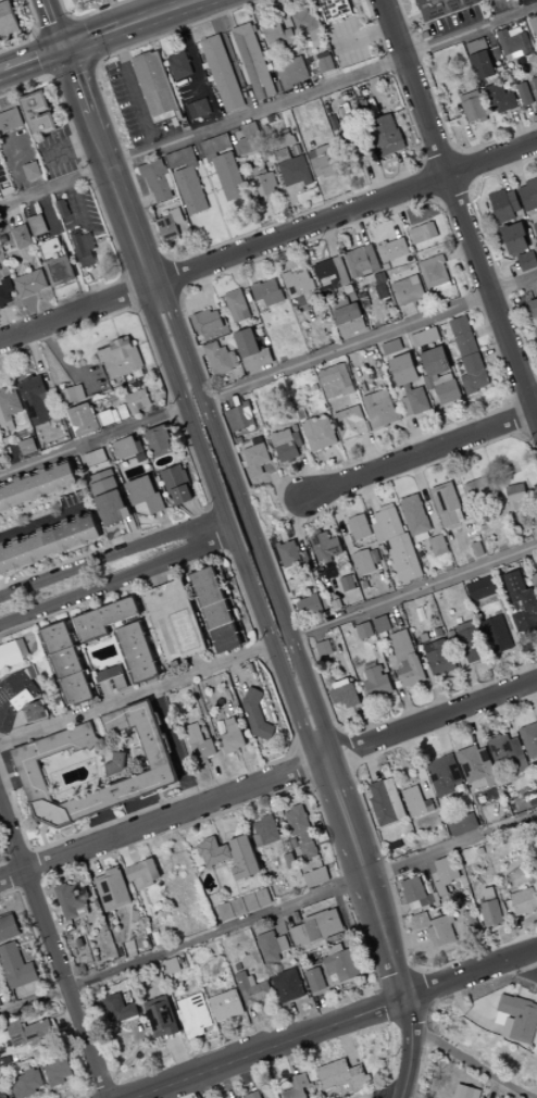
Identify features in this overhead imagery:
road: (192, 0)
building: (483, 0)
building: (486, 0)
building: (86, 1)
road: (109, 3)
road: (309, 5)
building: (441, 8)
building: (336, 9)
road: (283, 13)
road: (89, 14)
building: (312, 14)
road: (220, 15)
building: (8, 20)
road: (70, 20)
building: (304, 21)
road: (53, 24)
building: (534, 25)
road: (54, 29)
building: (273, 32)
road: (33, 35)
road: (37, 35)
building: (315, 35)
road: (98, 36)
building: (289, 36)
road: (363, 37)
road: (489, 37)
road: (188, 38)
road: (13, 40)
road: (80, 42)
building: (505, 42)
building: (317, 43)
building: (524, 43)
building: (476, 47)
traffic signals: (64, 49)
building: (517, 49)
building: (323, 55)
road: (47, 59)
building: (253, 62)
road: (96, 64)
building: (325, 64)
building: (179, 65)
building: (482, 65)
building: (268, 66)
road: (73, 72)
building: (291, 72)
building: (223, 74)
road: (52, 83)
building: (473, 84)
building: (535, 84)
building: (155, 85)
building: (469, 86)
building: (462, 88)
road: (134, 89)
building: (524, 93)
road: (143, 96)
building: (247, 96)
building: (499, 99)
building: (473, 105)
road: (267, 108)
building: (199, 109)
building: (41, 113)
road: (439, 115)
road: (533, 116)
building: (272, 118)
building: (483, 120)
building: (11, 121)
road: (473, 123)
building: (185, 124)
road: (519, 127)
road: (408, 128)
road: (469, 132)
building: (386, 135)
building: (250, 138)
building: (285, 142)
building: (353, 144)
road: (436, 146)
building: (216, 147)
road: (71, 150)
building: (296, 150)
road: (457, 153)
building: (283, 155)
building: (266, 157)
building: (182, 159)
road: (200, 159)
building: (326, 161)
road: (362, 161)
road: (442, 162)
road: (426, 164)
road: (108, 166)
road: (14, 169)
road: (404, 170)
building: (33, 171)
building: (295, 171)
building: (257, 172)
road: (366, 174)
road: (377, 174)
road: (208, 175)
building: (246, 175)
building: (344, 175)
building: (229, 176)
building: (157, 178)
road: (435, 179)
building: (170, 182)
building: (264, 185)
road: (92, 187)
road: (149, 188)
road: (212, 188)
road: (344, 188)
building: (191, 190)
road: (213, 192)
building: (528, 196)
road: (437, 197)
road: (271, 198)
road: (415, 201)
road: (294, 202)
road: (138, 203)
road: (367, 203)
building: (504, 204)
road: (77, 205)
building: (172, 207)
building: (63, 209)
road: (400, 209)
road: (52, 211)
road: (273, 211)
road: (13, 214)
building: (177, 215)
road: (394, 217)
road: (417, 224)
building: (39, 225)
building: (167, 227)
road: (360, 227)
building: (535, 227)
road: (378, 228)
building: (424, 232)
building: (23, 237)
road: (328, 239)
building: (514, 239)
road: (103, 242)
building: (402, 245)
road: (189, 246)
building: (84, 248)
building: (53, 249)
road: (178, 249)
road: (200, 252)
building: (386, 252)
road: (459, 252)
road: (294, 259)
building: (372, 259)
road: (167, 261)
road: (287, 262)
building: (357, 262)
building: (526, 262)
road: (21, 263)
road: (197, 267)
road: (448, 267)
building: (62, 271)
building: (340, 271)
building: (434, 271)
road: (146, 272)
road: (237, 272)
building: (326, 274)
road: (173, 276)
road: (172, 277)
road: (254, 277)
building: (379, 277)
road: (124, 278)
road: (93, 279)
building: (299, 280)
building: (33, 284)
road: (514, 284)
building: (441, 287)
road: (207, 288)
building: (386, 290)
building: (407, 291)
building: (5, 292)
road: (180, 292)
building: (267, 292)
road: (133, 295)
road: (158, 298)
building: (250, 301)
building: (237, 305)
building: (533, 309)
road: (37, 310)
road: (420, 311)
road: (74, 313)
building: (349, 320)
building: (207, 322)
building: (459, 325)
road: (112, 326)
road: (487, 328)
building: (536, 332)
building: (425, 336)
building: (246, 344)
building: (465, 344)
road: (348, 345)
building: (391, 347)
road: (380, 349)
road: (54, 350)
road: (34, 351)
road: (497, 352)
road: (514, 354)
building: (121, 358)
building: (217, 359)
building: (233, 359)
building: (258, 360)
building: (435, 361)
road: (355, 370)
building: (402, 370)
building: (138, 373)
building: (473, 374)
road: (239, 376)
building: (337, 380)
building: (428, 383)
building: (447, 391)
building: (72, 394)
building: (35, 399)
road: (172, 399)
building: (138, 401)
building: (414, 401)
road: (484, 401)
road: (459, 402)
building: (10, 403)
building: (300, 409)
building: (379, 409)
building: (105, 411)
building: (124, 412)
building: (116, 415)
road: (441, 415)
building: (240, 416)
building: (107, 419)
building: (84, 420)
building: (350, 423)
building: (5, 424)
building: (308, 428)
road: (388, 431)
road: (417, 434)
building: (322, 435)
road: (73, 437)
building: (282, 438)
building: (297, 439)
road: (92, 440)
building: (160, 441)
building: (138, 446)
building: (27, 447)
building: (125, 448)
road: (341, 451)
building: (287, 452)
road: (421, 453)
road: (10, 454)
road: (373, 454)
building: (95, 458)
building: (140, 458)
building: (257, 459)
road: (327, 467)
road: (308, 470)
building: (103, 476)
building: (174, 478)
building: (37, 485)
road: (282, 485)
building: (107, 487)
building: (477, 489)
street lamp: (254, 491)
building: (143, 495)
building: (180, 496)
road: (279, 497)
building: (516, 498)
road: (45, 501)
road: (274, 501)
road: (242, 502)
road: (27, 506)
building: (447, 506)
building: (111, 509)
building: (124, 514)
road: (199, 516)
building: (414, 516)
road: (227, 520)
road: (45, 521)
road: (165, 523)
building: (359, 527)
road: (217, 529)
building: (114, 532)
road: (135, 533)
street lamp: (270, 536)
building: (48, 542)
building: (396, 544)
building: (438, 546)
building: (325, 548)
building: (291, 556)
road: (50, 558)
road: (52, 558)
road: (101, 559)
building: (362, 563)
road: (53, 564)
road: (54, 565)
road: (105, 584)
building: (347, 584)
building: (480, 589)
road: (414, 592)
building: (162, 600)
building: (522, 602)
building: (309, 608)
building: (215, 610)
building: (103, 619)
building: (380, 625)
building: (364, 631)
building: (496, 635)
building: (57, 636)
building: (162, 637)
building: (471, 642)
building: (323, 649)
building: (137, 652)
building: (12, 653)
building: (439, 658)
building: (405, 660)
building: (67, 663)
building: (111, 676)
building: (376, 684)
building: (76, 689)
road: (136, 694)
building: (345, 696)
building: (22, 701)
road: (445, 711)
building: (254, 714)
building: (229, 735)
road: (338, 735)
road: (324, 737)
building: (529, 740)
building: (200, 744)
road: (324, 753)
building: (507, 756)
building: (116, 764)
building: (28, 766)
building: (476, 769)
building: (442, 776)
road: (272, 798)
building: (385, 802)
road: (252, 803)
building: (416, 803)
road: (316, 812)
road: (210, 818)
road: (162, 819)
road: (217, 822)
road: (313, 825)
building: (462, 825)
building: (266, 829)
building: (301, 831)
building: (258, 840)
road: (325, 843)
road: (452, 845)
road: (4, 851)
road: (122, 851)
road: (138, 853)
building: (229, 856)
road: (8, 860)
road: (96, 861)
building: (289, 861)
road: (223, 866)
road: (340, 869)
building: (303, 870)
road: (229, 872)
road: (13, 874)
building: (142, 874)
road: (366, 876)
building: (316, 877)
road: (235, 882)
building: (410, 883)
building: (112, 889)
road: (18, 890)
building: (263, 897)
building: (72, 900)
building: (251, 902)
building: (523, 902)
building: (239, 907)
building: (225, 911)
building: (490, 914)
building: (470, 920)
road: (130, 923)
road: (152, 923)
building: (327, 923)
road: (277, 924)
building: (9, 928)
road: (61, 931)
building: (441, 931)
road: (35, 933)
building: (304, 934)
road: (27, 943)
building: (283, 944)
road: (211, 945)
road: (183, 947)
building: (270, 948)
building: (334, 950)
road: (54, 951)
road: (133, 953)
road: (524, 963)
building: (172, 965)
building: (341, 965)
building: (17, 966)
road: (470, 972)
building: (3, 974)
building: (314, 981)
building: (287, 986)
building: (253, 989)
road: (380, 989)
road: (386, 1005)
building: (226, 1006)
road: (326, 1008)
building: (118, 1009)
building: (193, 1015)
building: (161, 1018)
road: (65, 1019)
building: (519, 1019)
building: (12, 1020)
road: (291, 1020)
road: (259, 1026)
building: (30, 1032)
road: (230, 1040)
road: (346, 1044)
road: (411, 1047)
road: (266, 1048)
road: (132, 1056)
road: (179, 1057)
road: (290, 1058)
road: (391, 1059)
road: (473, 1062)
building: (59, 1070)
road: (245, 1075)
building: (344, 1077)
road: (226, 1082)
building: (28, 1084)
road: (195, 1087)
building: (297, 1087)
road: (498, 1088)
building: (2, 1093)
road: (162, 1093)
building: (465, 1093)
road: (379, 1094)
building: (252, 1095)
road: (409, 1096)
building: (238, 1097)
building: (501, 1097)

